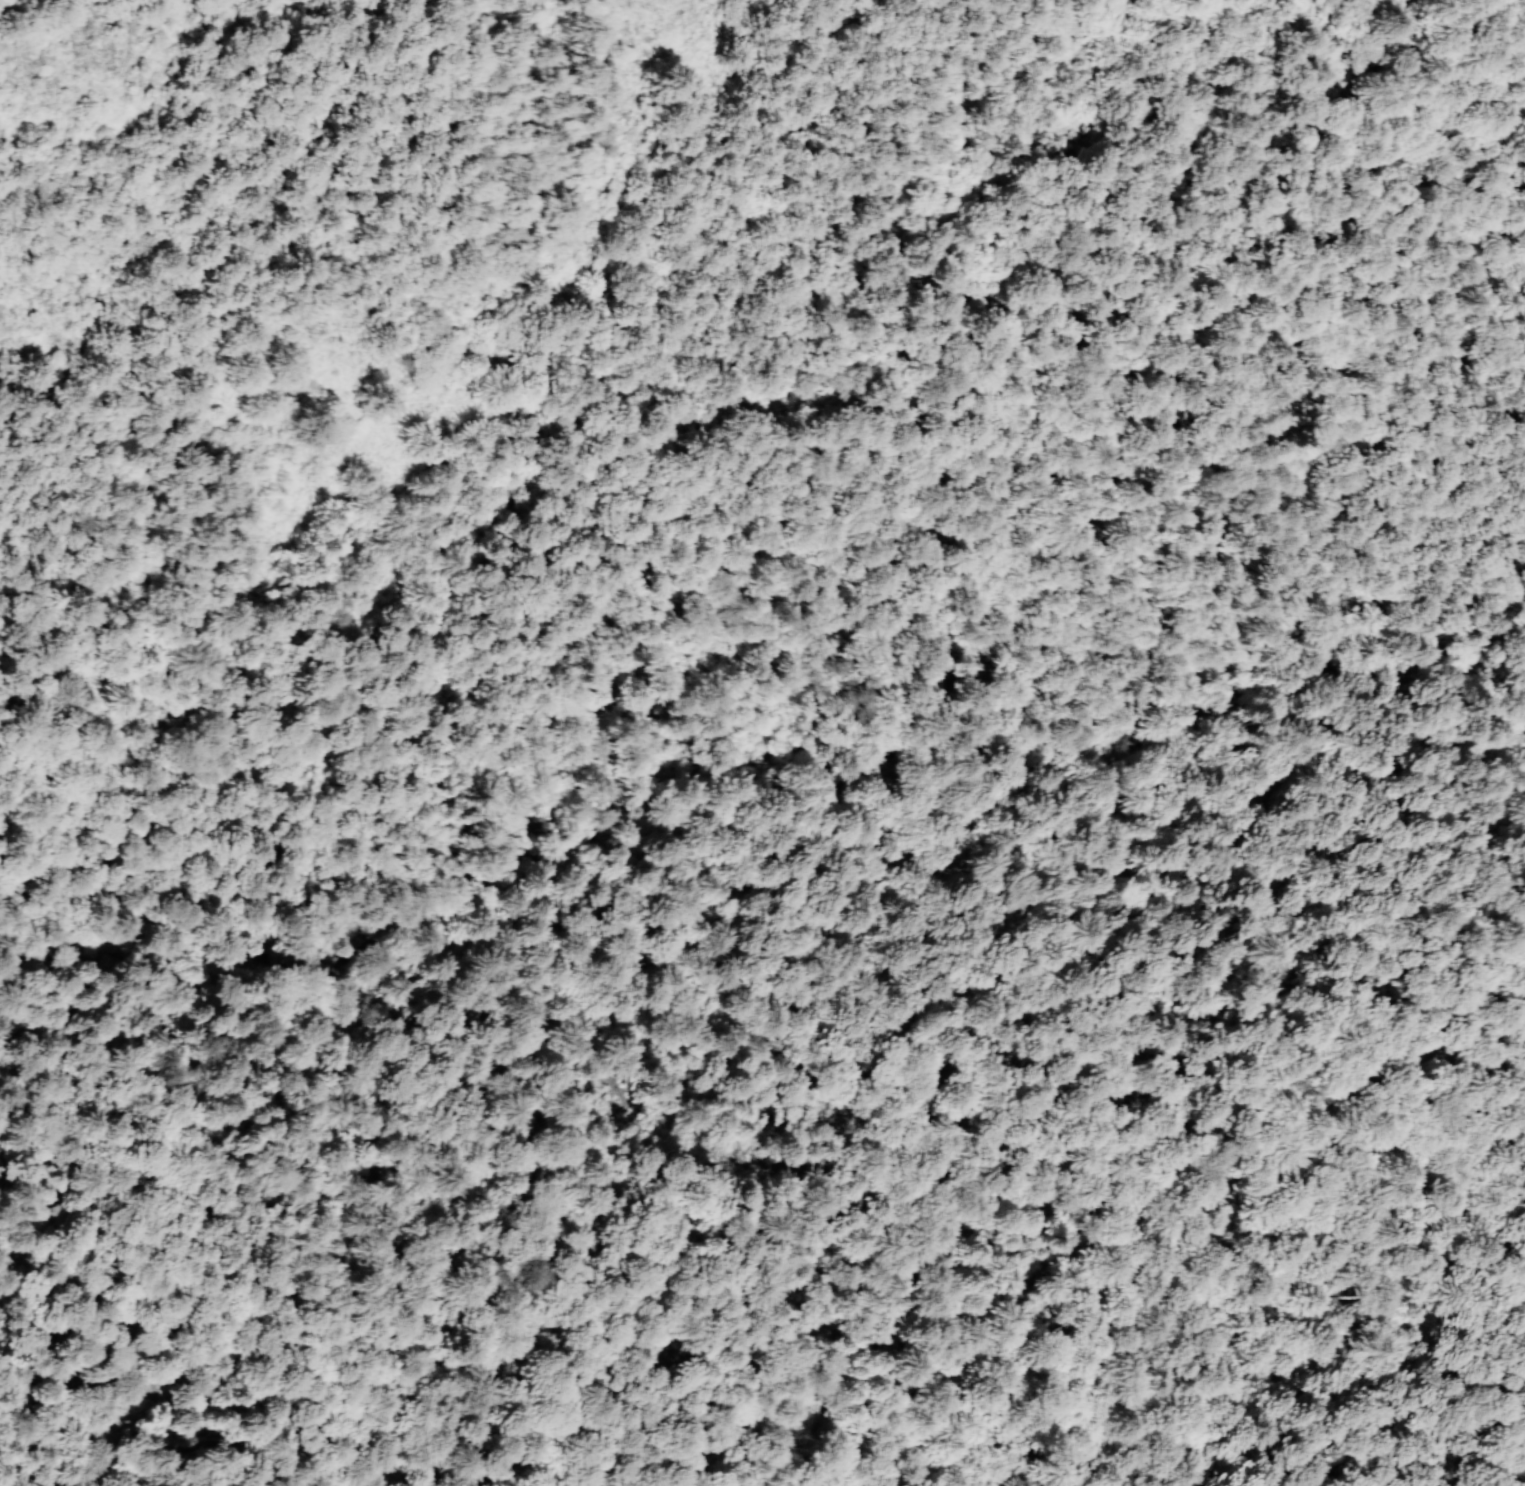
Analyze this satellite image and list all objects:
road: (17, 11)
road: (559, 423)
road: (1152, 608)
road: (755, 780)
road: (669, 792)
road: (589, 812)
road: (566, 824)
road: (548, 848)
road: (432, 915)
road: (146, 944)
road: (302, 946)
road: (970, 1136)
building: (730, 1372)
road: (664, 1420)
road: (183, 1429)
road: (117, 1454)

